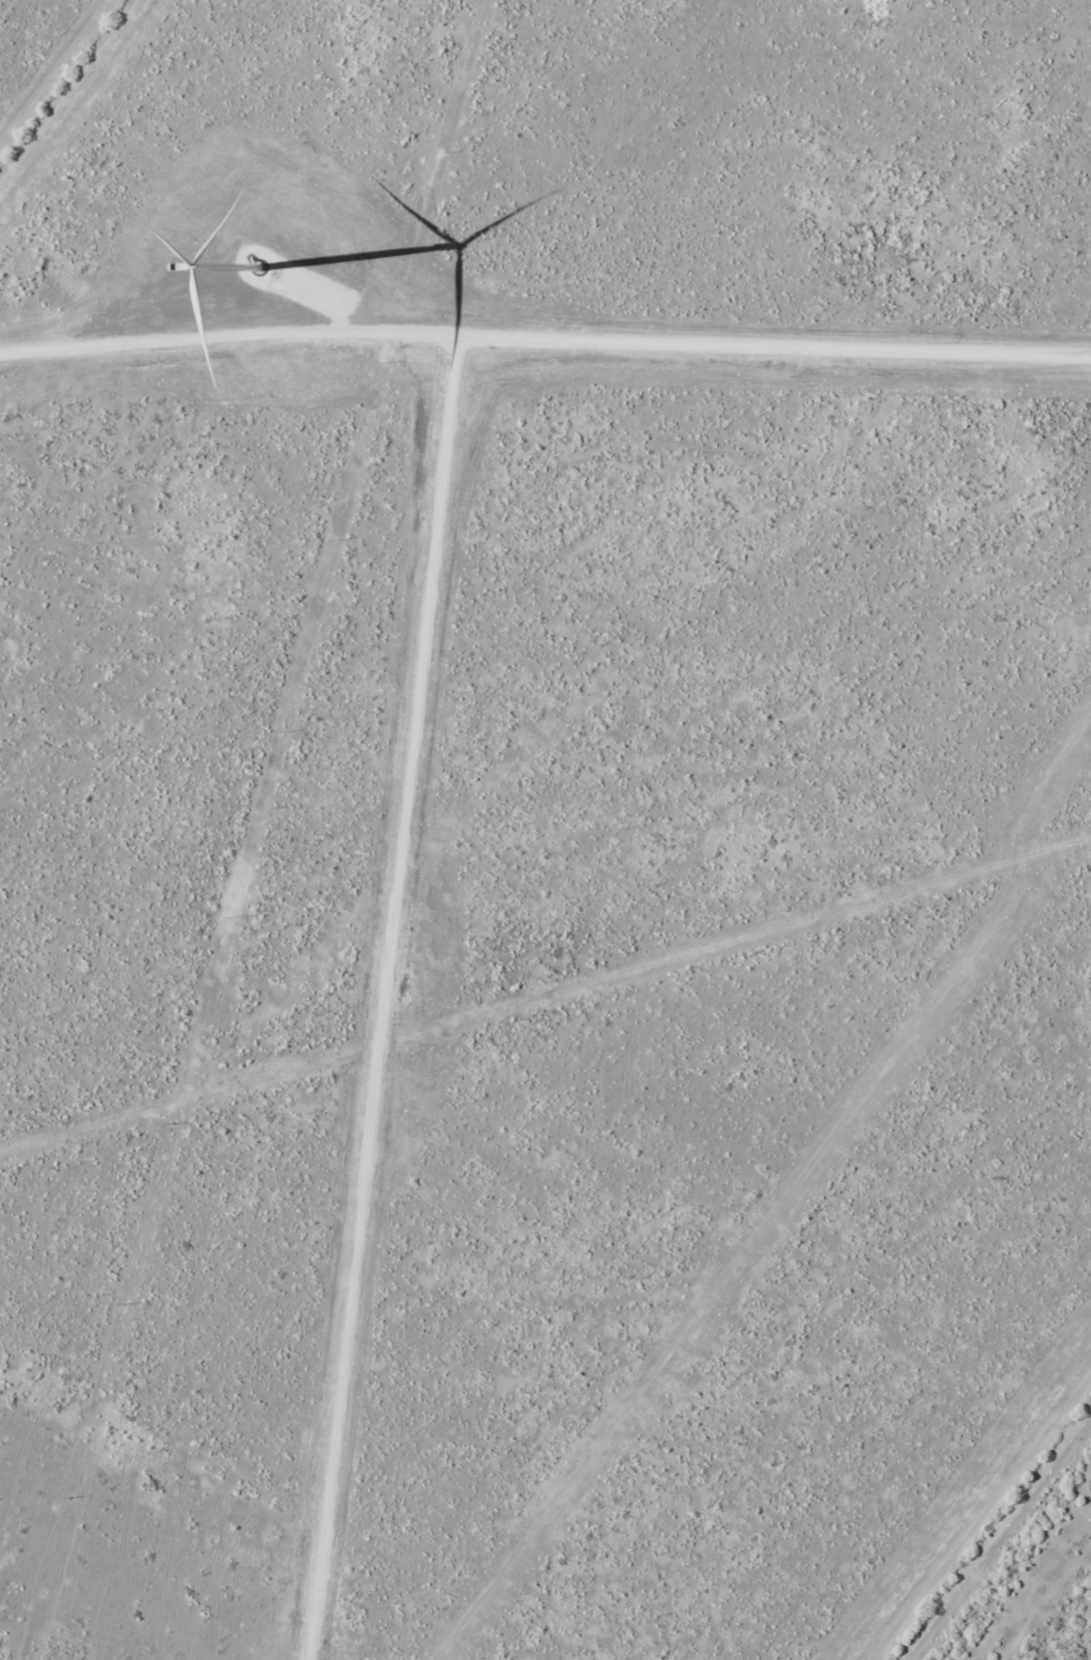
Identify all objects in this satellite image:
wind turbine: (273, 257)

